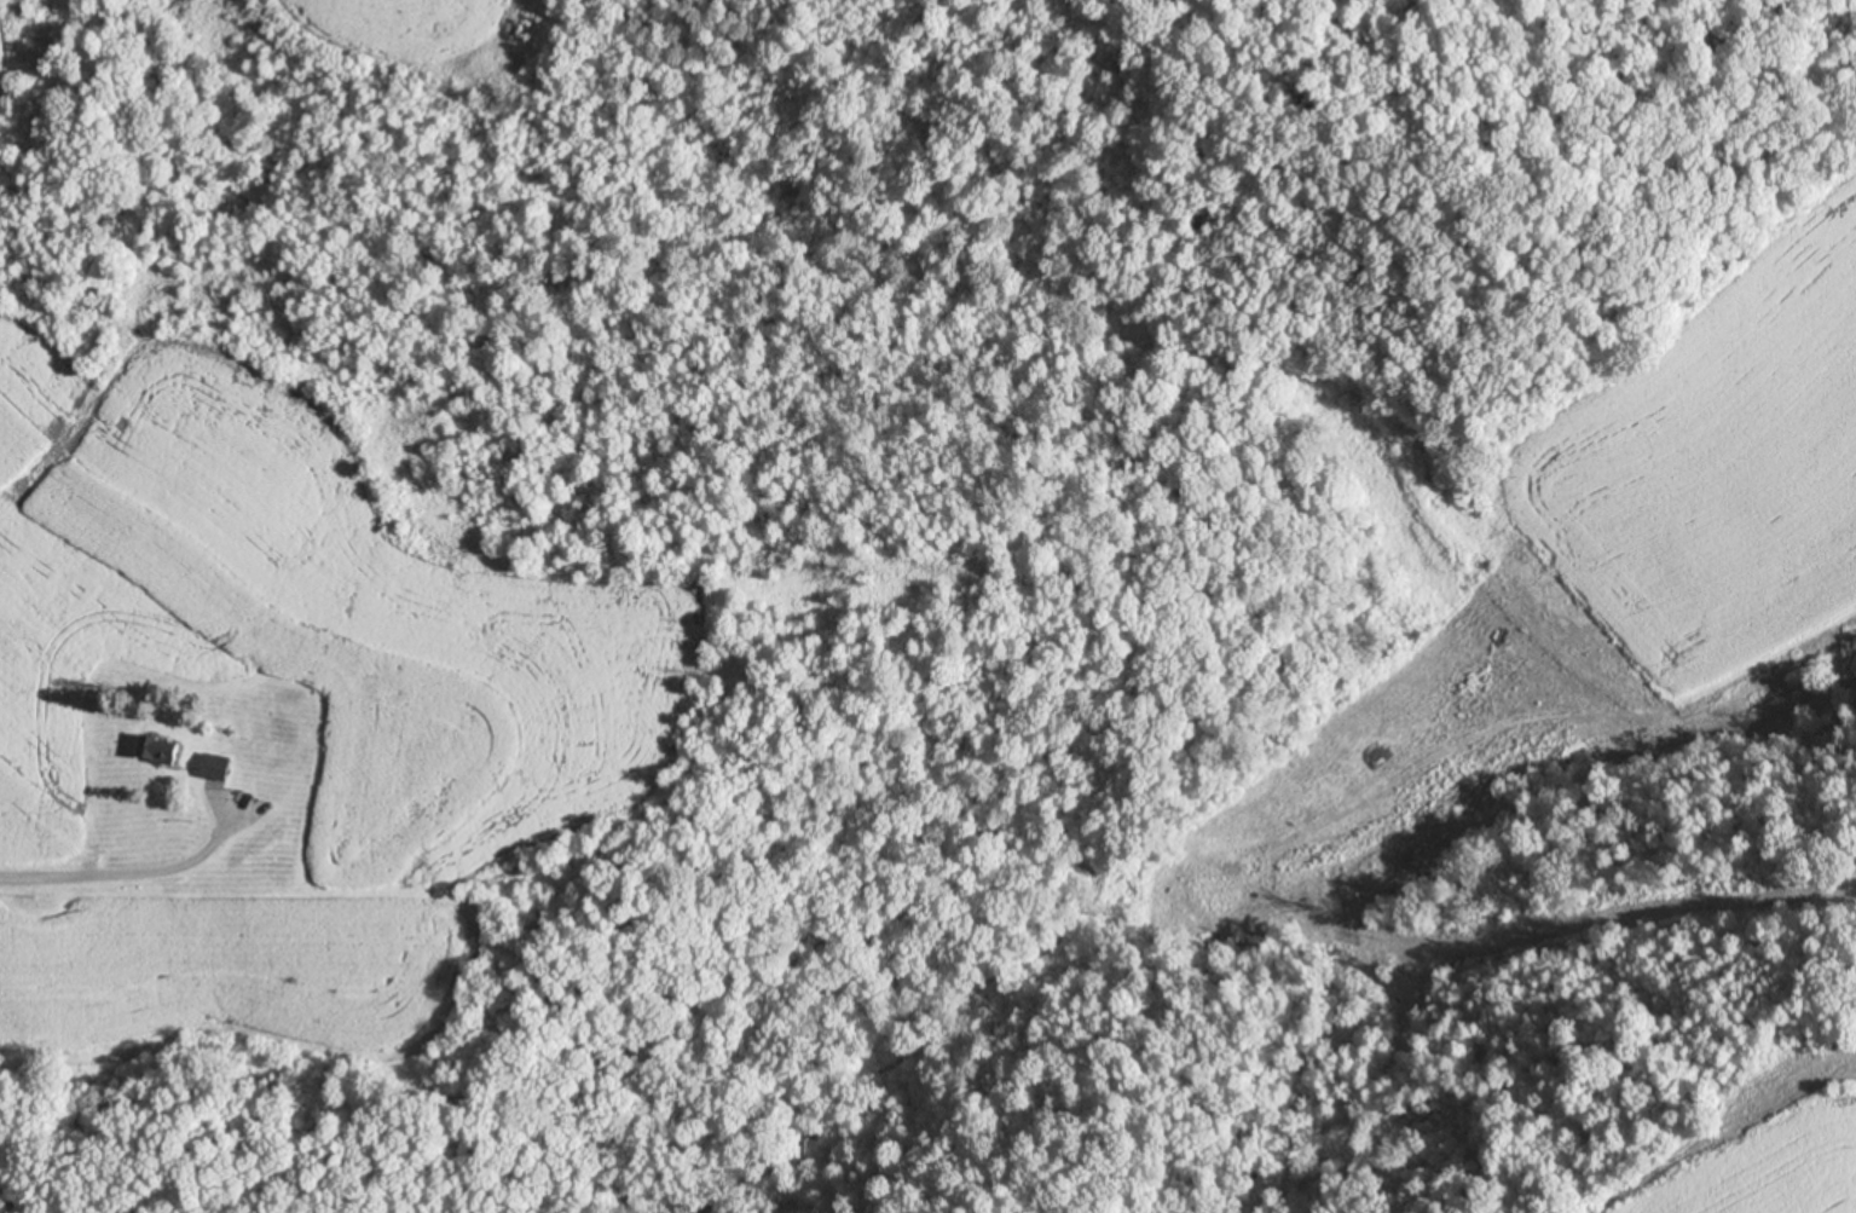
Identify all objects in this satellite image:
building: (161, 750)
building: (215, 767)
road: (121, 879)

